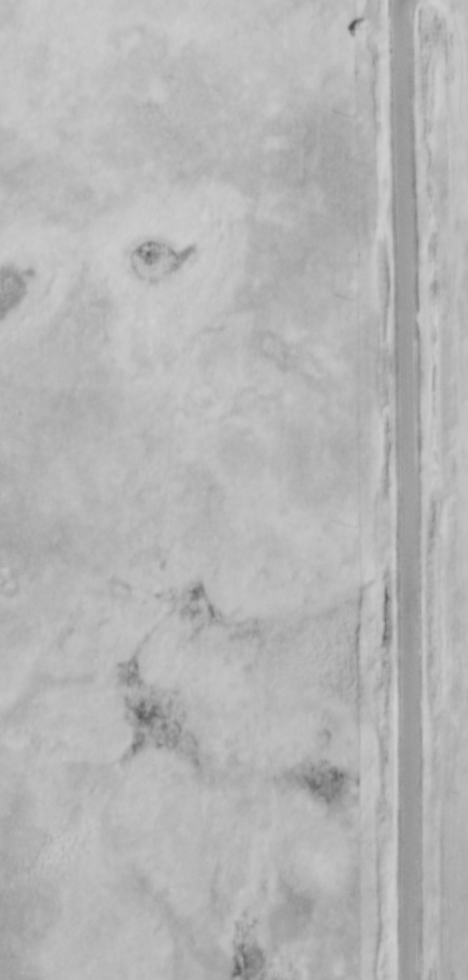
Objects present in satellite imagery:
road: (405, 490)

